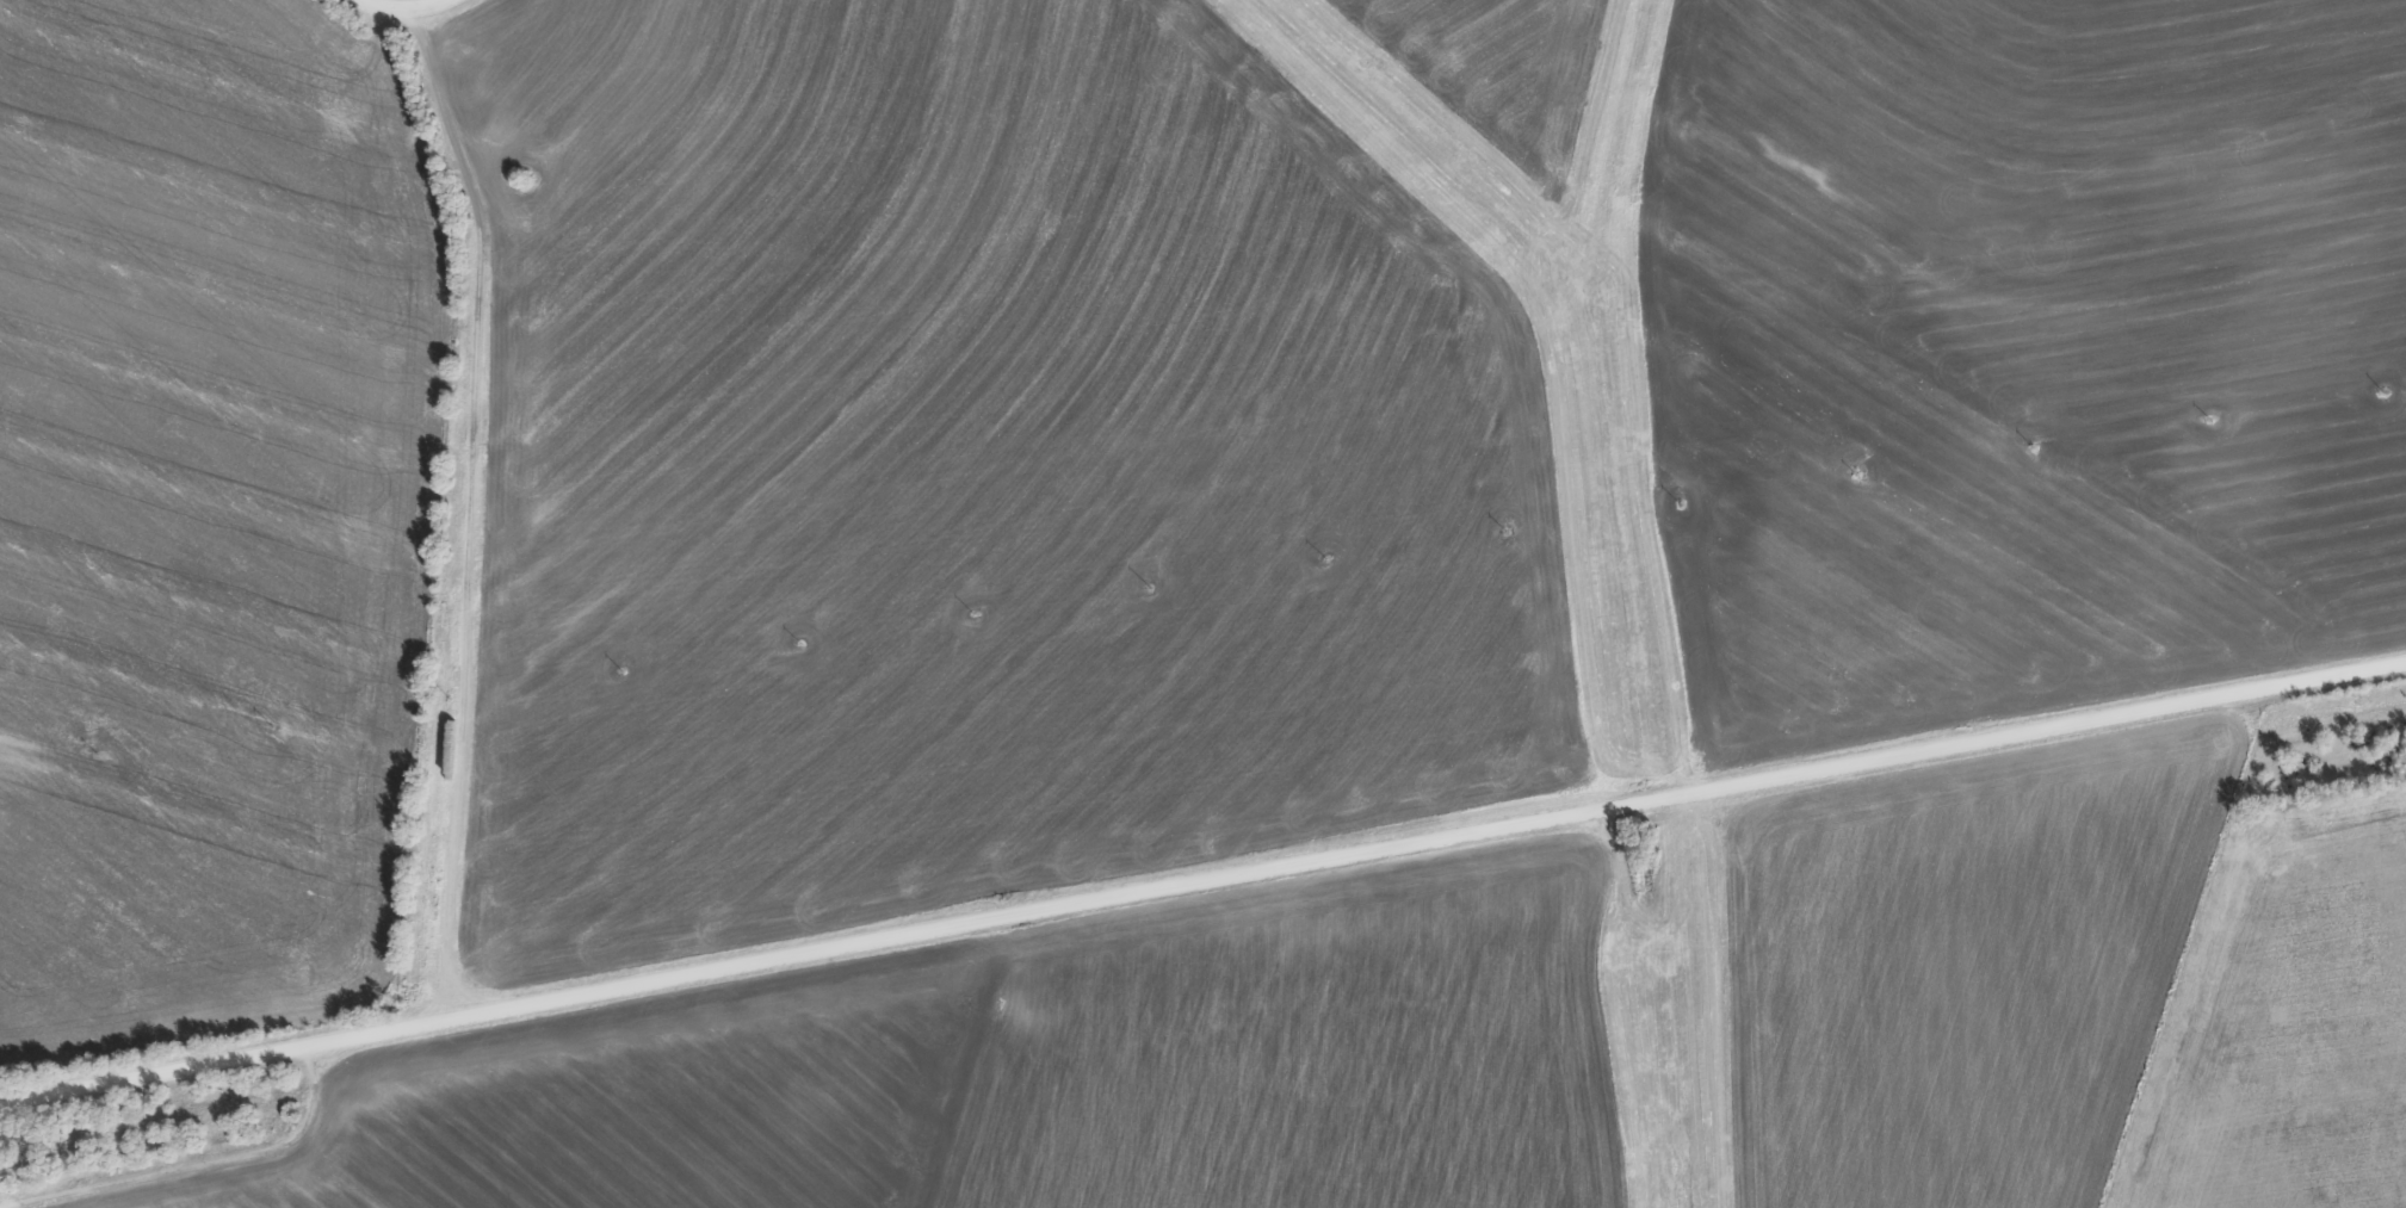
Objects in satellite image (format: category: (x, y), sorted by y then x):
road: (1201, 867)

